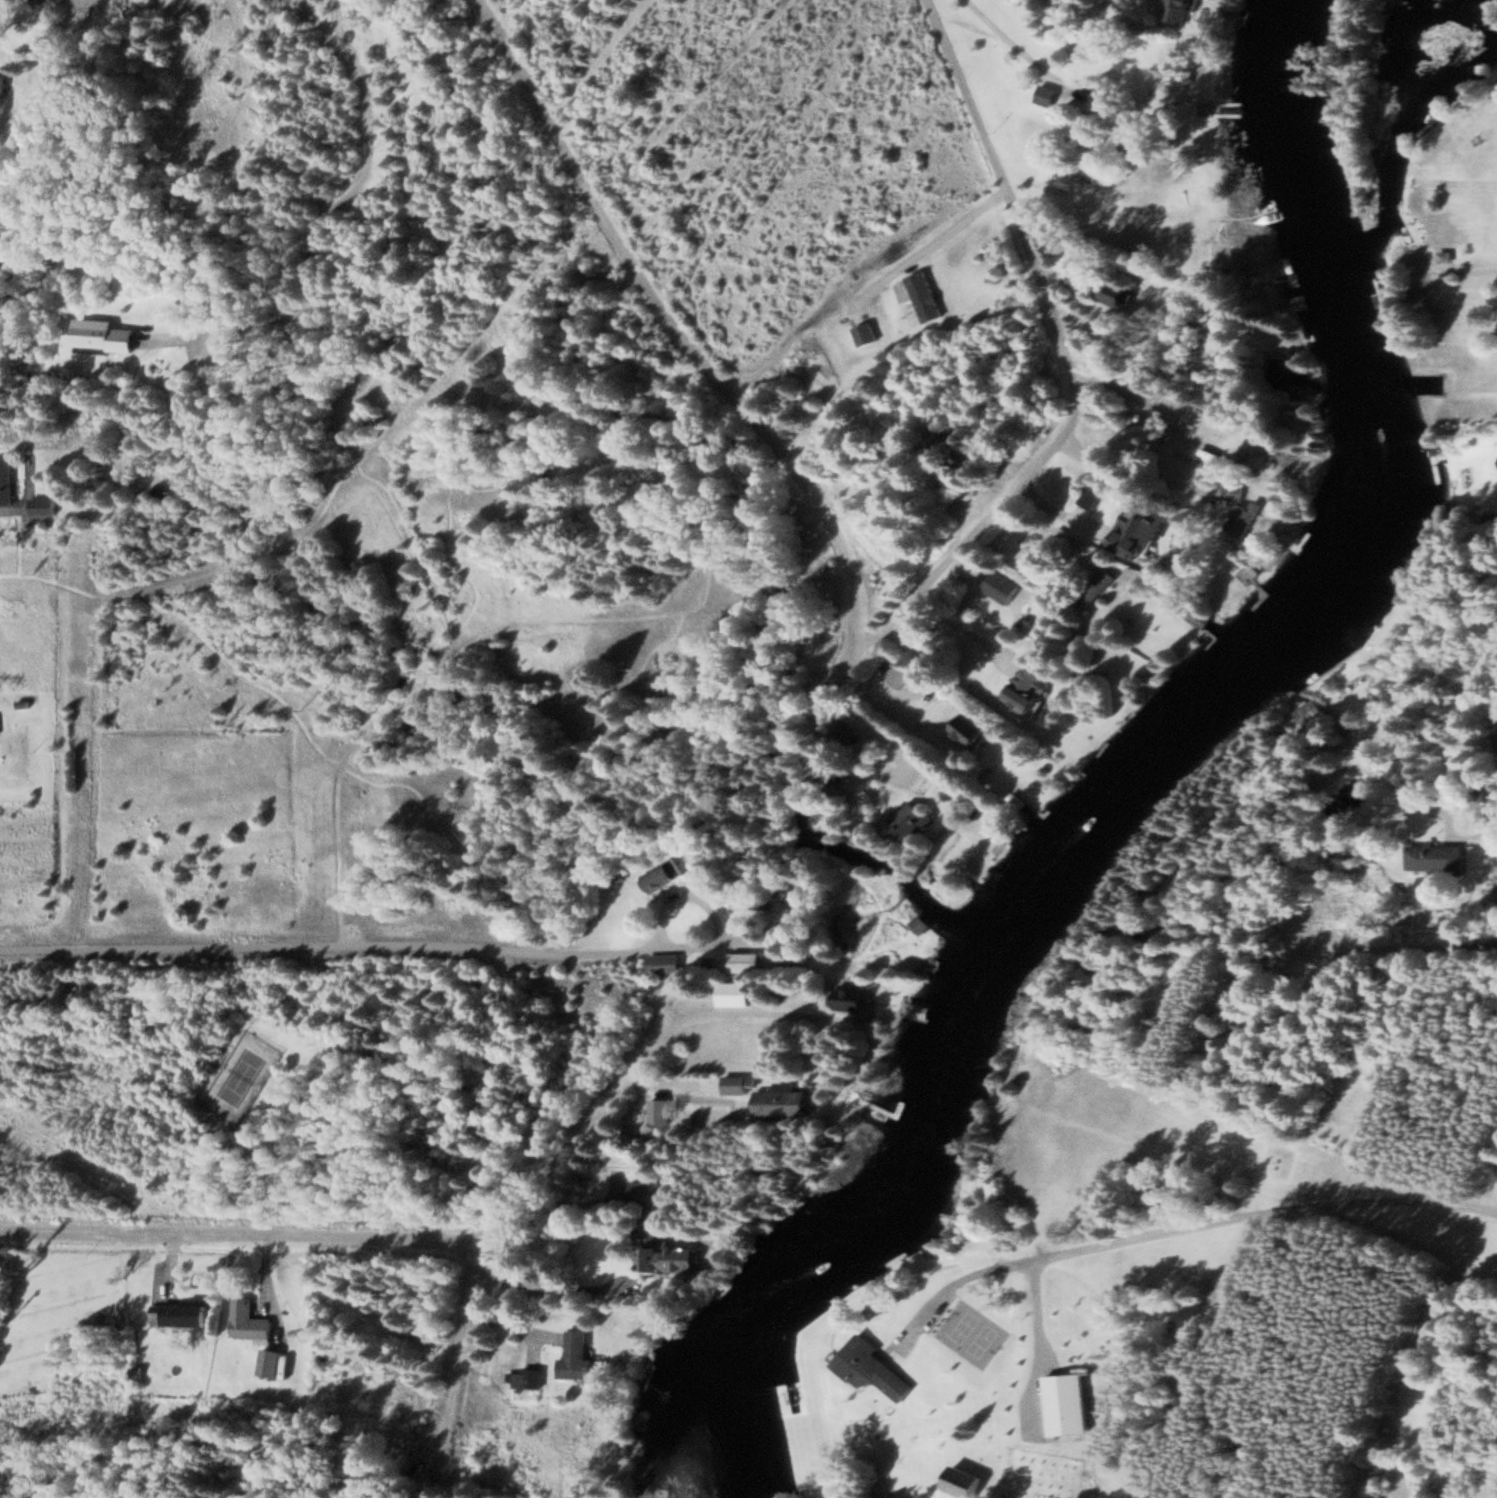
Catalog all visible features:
building: (1182, 11)
road: (1022, 49)
building: (1, 83)
building: (1047, 94)
road: (316, 220)
road: (1027, 235)
road: (922, 248)
building: (1079, 278)
building: (1113, 291)
building: (925, 294)
building: (865, 332)
building: (104, 335)
road: (691, 342)
road: (1043, 454)
road: (1143, 474)
building: (7, 480)
building: (46, 504)
building: (1238, 509)
building: (1132, 519)
road: (229, 545)
road: (936, 570)
building: (1002, 587)
building: (1094, 587)
road: (482, 631)
building: (899, 674)
building: (1026, 692)
building: (1309, 712)
road: (856, 714)
building: (967, 730)
building: (846, 737)
river: (1154, 770)
road: (1476, 773)
building: (910, 821)
building: (1435, 857)
building: (664, 874)
road: (709, 907)
building: (916, 923)
road: (737, 931)
road: (329, 943)
building: (745, 960)
building: (664, 962)
building: (733, 992)
building: (851, 998)
building: (736, 1083)
road: (609, 1098)
building: (783, 1099)
road: (1175, 1225)
building: (654, 1235)
road: (242, 1241)
building: (179, 1313)
building: (248, 1319)
road: (462, 1339)
building: (572, 1354)
building: (268, 1361)
building: (873, 1368)
building: (524, 1380)
building: (1068, 1405)
building: (961, 1483)

